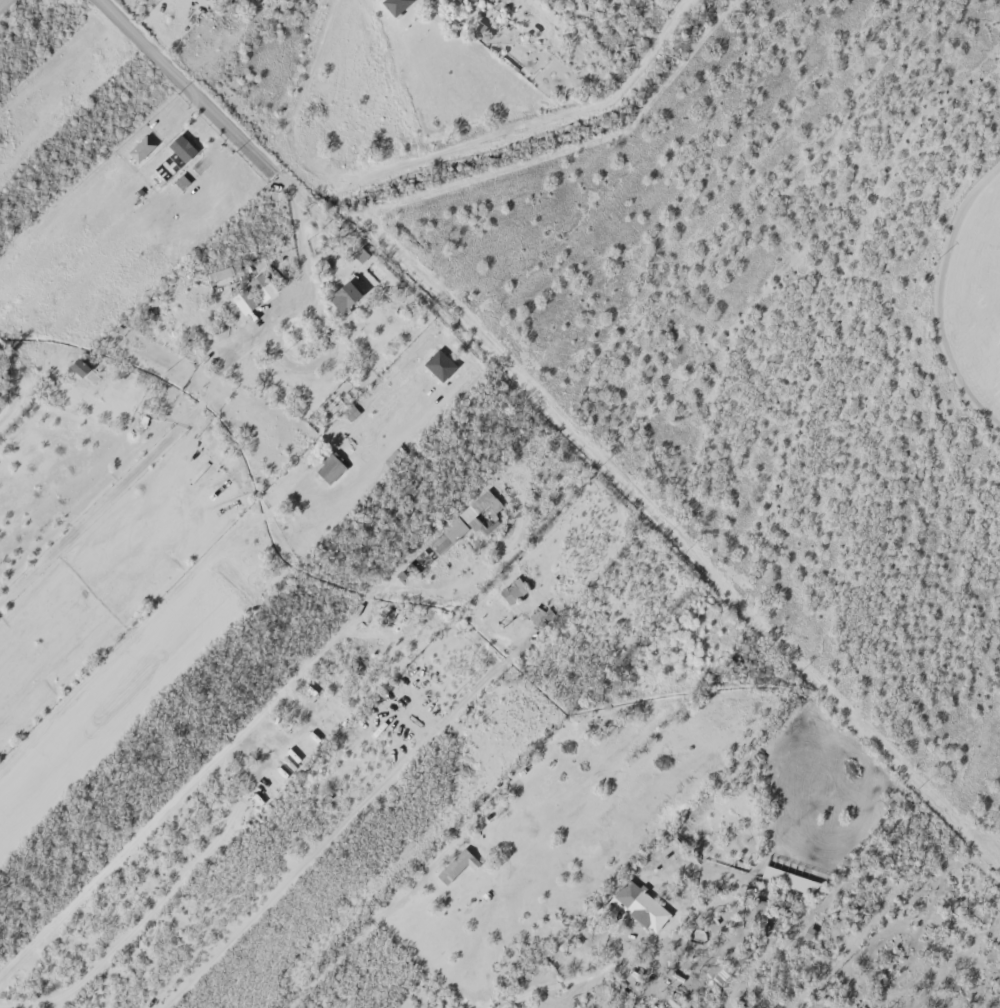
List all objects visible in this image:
road: (2, 2)
road: (194, 93)
building: (138, 144)
building: (178, 144)
building: (194, 162)
building: (259, 282)
building: (341, 292)
building: (241, 297)
building: (76, 362)
building: (390, 453)
building: (325, 461)
building: (479, 507)
building: (445, 531)
building: (418, 556)
building: (509, 586)
road: (332, 834)
building: (453, 866)
building: (786, 875)
building: (642, 905)
road: (383, 907)
building: (722, 967)
road: (527, 988)

